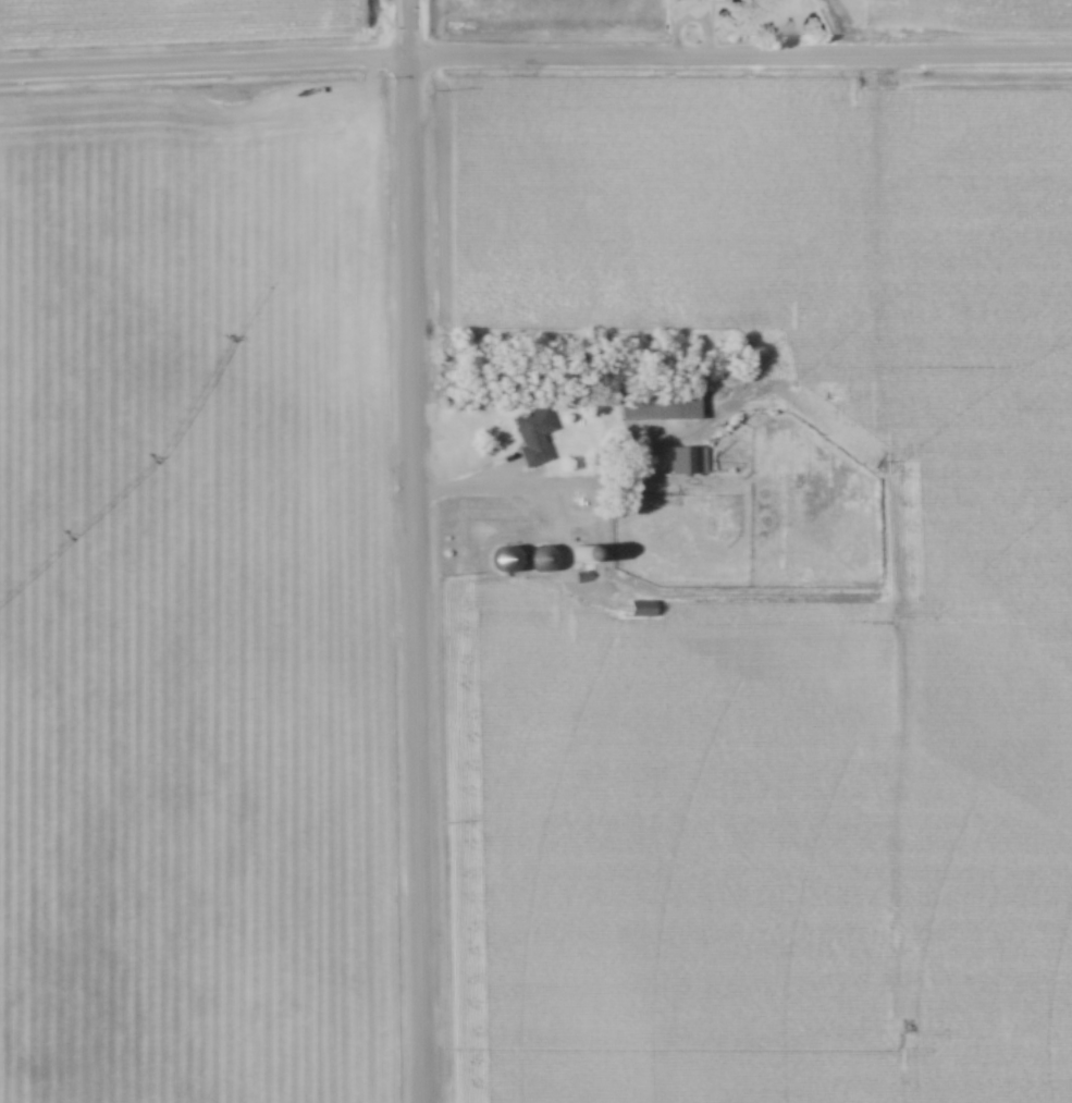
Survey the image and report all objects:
crop: (965, 10)
crop: (517, 13)
crop: (181, 20)
road: (708, 28)
road: (535, 57)
crop: (658, 217)
building: (656, 409)
building: (532, 436)
building: (689, 463)
road: (416, 551)
silo: (579, 555)
silo: (540, 559)
building: (535, 560)
building: (500, 561)
silo: (501, 561)
crop: (194, 597)
building: (640, 610)
crop: (814, 737)

